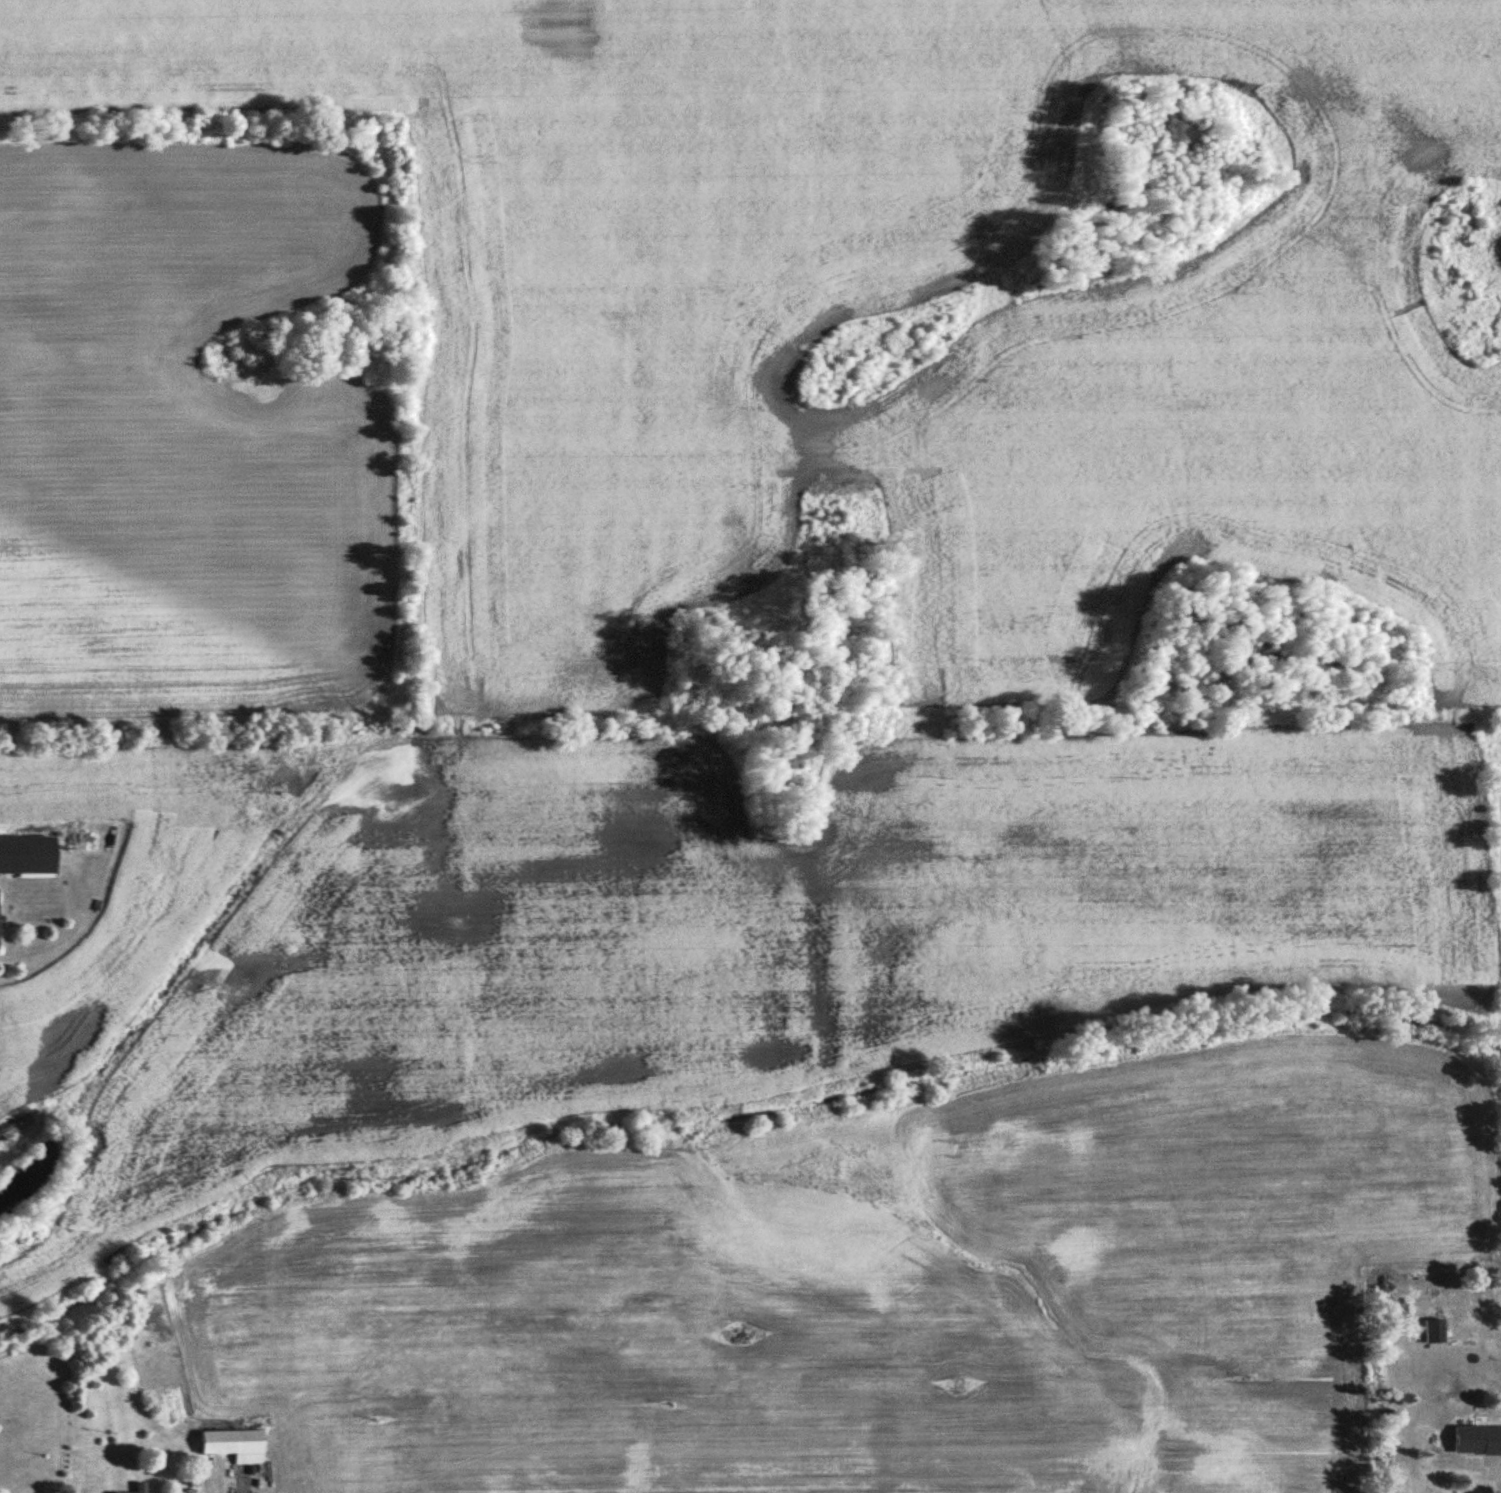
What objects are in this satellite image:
building: (27, 855)
building: (1433, 1330)
building: (1477, 1440)
building: (233, 1444)
building: (136, 1488)

